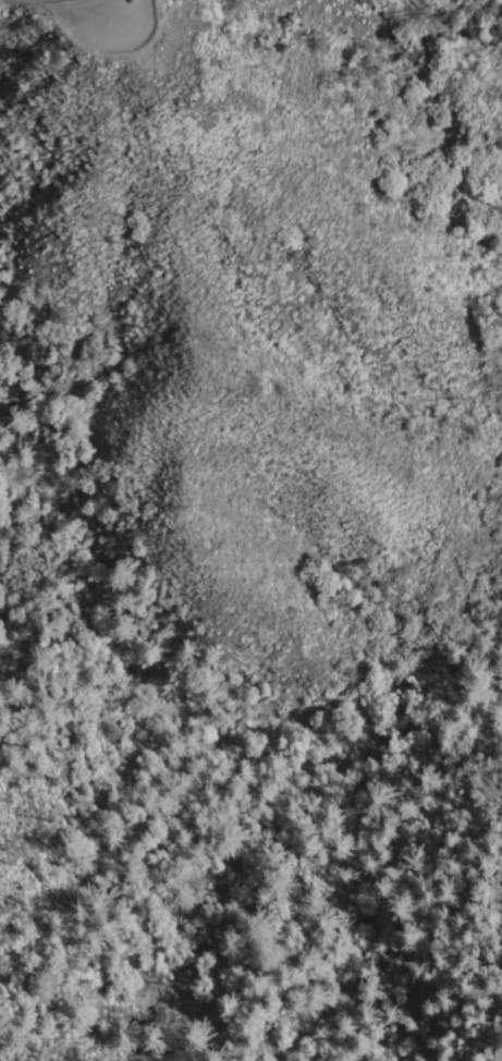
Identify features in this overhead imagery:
parking lot: (102, 24)

